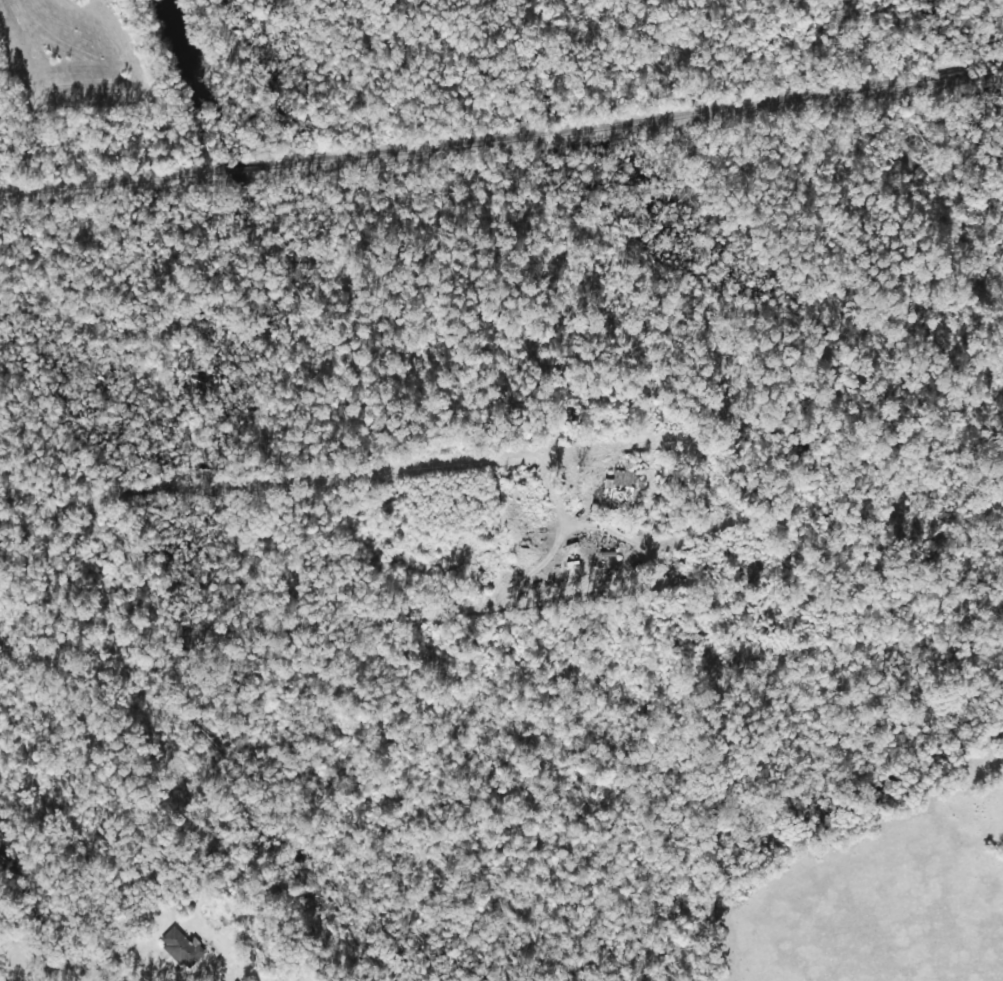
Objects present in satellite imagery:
railway: (502, 143)
building: (619, 486)
road: (349, 613)
building: (181, 947)

